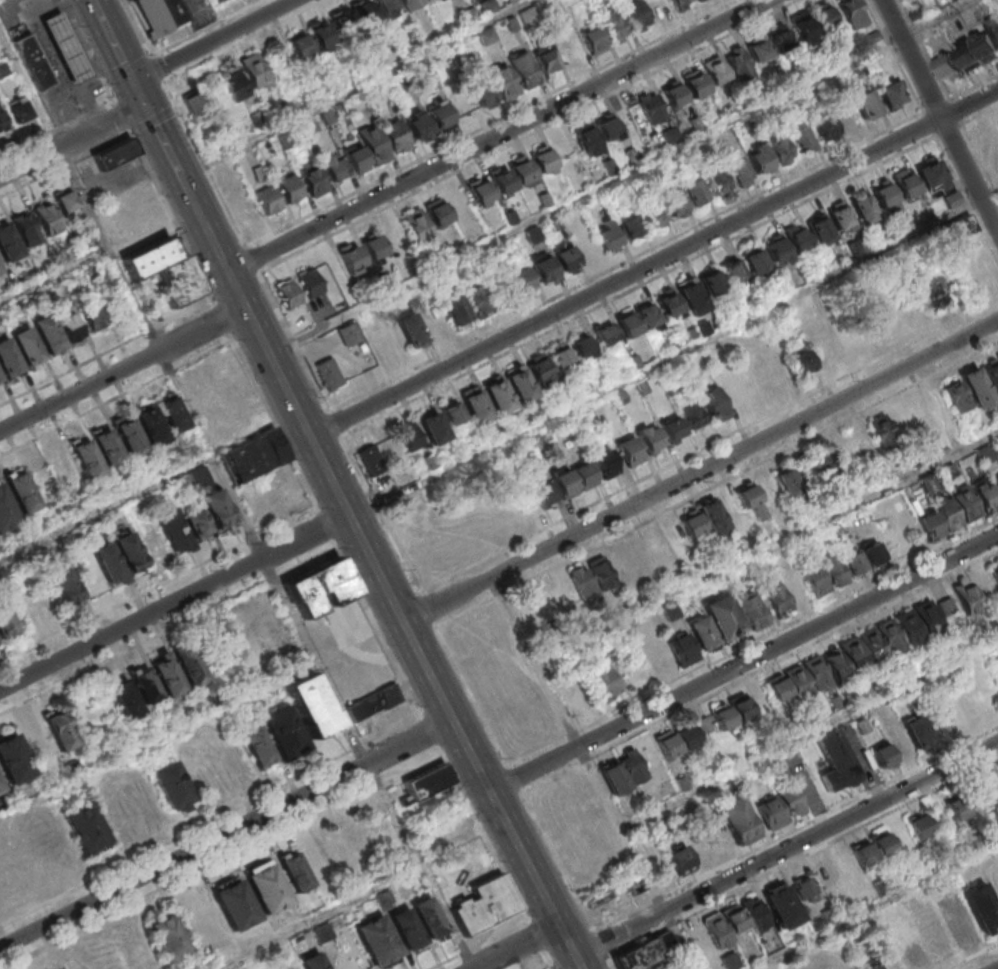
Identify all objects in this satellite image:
building: (696, 0)
building: (701, 0)
building: (216, 1)
building: (510, 1)
building: (411, 3)
building: (681, 4)
building: (487, 6)
building: (388, 7)
building: (658, 8)
road: (68, 9)
building: (364, 13)
building: (528, 14)
building: (636, 14)
building: (852, 14)
building: (161, 15)
building: (468, 15)
building: (812, 24)
building: (343, 25)
building: (513, 25)
building: (614, 25)
building: (994, 25)
road: (137, 28)
road: (204, 28)
building: (322, 35)
building: (486, 35)
road: (82, 36)
building: (778, 38)
building: (593, 39)
road: (213, 40)
road: (244, 40)
building: (66, 46)
building: (300, 47)
building: (568, 49)
building: (757, 49)
building: (977, 49)
road: (119, 52)
road: (5, 53)
road: (896, 56)
building: (34, 61)
building: (547, 61)
road: (97, 65)
building: (740, 66)
road: (128, 67)
road: (157, 67)
building: (949, 67)
building: (3, 69)
building: (255, 70)
building: (424, 70)
building: (525, 70)
building: (715, 70)
road: (163, 79)
road: (107, 80)
traffic signals: (133, 80)
building: (405, 80)
building: (504, 82)
building: (696, 84)
building: (235, 85)
road: (108, 86)
road: (974, 87)
road: (356, 88)
building: (382, 92)
building: (482, 92)
building: (891, 92)
road: (171, 93)
building: (673, 95)
road: (949, 98)
road: (106, 101)
road: (115, 101)
building: (193, 101)
building: (864, 104)
road: (970, 104)
road: (937, 105)
traffic signals: (144, 106)
road: (176, 107)
building: (651, 107)
building: (18, 110)
road: (88, 110)
road: (121, 115)
building: (442, 116)
road: (942, 116)
road: (154, 119)
building: (329, 119)
building: (845, 119)
road: (490, 123)
building: (2, 124)
building: (421, 126)
building: (309, 128)
building: (608, 128)
building: (825, 128)
building: (395, 134)
road: (497, 135)
road: (528, 135)
building: (671, 135)
road: (39, 136)
building: (801, 136)
building: (587, 139)
road: (71, 141)
building: (285, 141)
building: (374, 145)
building: (779, 148)
building: (114, 152)
building: (760, 159)
building: (357, 160)
building: (543, 160)
road: (66, 162)
building: (334, 166)
building: (521, 170)
building: (738, 172)
building: (932, 173)
road: (212, 175)
road: (621, 177)
building: (313, 178)
building: (502, 181)
building: (717, 181)
building: (907, 184)
road: (187, 187)
building: (292, 189)
building: (481, 191)
building: (692, 191)
building: (884, 195)
building: (952, 198)
road: (989, 198)
road: (966, 199)
building: (65, 201)
building: (270, 201)
building: (672, 202)
building: (864, 209)
building: (246, 212)
building: (439, 213)
building: (134, 215)
road: (170, 215)
building: (651, 216)
building: (841, 217)
building: (47, 218)
building: (417, 226)
building: (961, 226)
building: (820, 227)
building: (26, 229)
building: (617, 230)
building: (532, 234)
building: (799, 239)
building: (8, 242)
building: (374, 248)
building: (777, 250)
building: (351, 257)
building: (150, 258)
building: (565, 258)
road: (253, 259)
building: (756, 261)
road: (626, 263)
building: (543, 268)
building: (732, 271)
road: (55, 274)
road: (626, 277)
building: (181, 279)
building: (520, 281)
building: (711, 281)
building: (310, 282)
road: (639, 287)
road: (239, 289)
building: (288, 293)
building: (936, 293)
building: (692, 298)
building: (477, 300)
building: (669, 304)
building: (454, 307)
road: (973, 310)
building: (92, 315)
building: (628, 324)
building: (71, 327)
building: (413, 332)
building: (48, 333)
building: (605, 333)
building: (348, 334)
road: (292, 341)
building: (27, 345)
building: (582, 347)
building: (559, 356)
building: (8, 357)
road: (667, 361)
building: (801, 361)
building: (538, 367)
road: (124, 370)
road: (72, 371)
building: (328, 374)
building: (992, 376)
building: (0, 378)
building: (520, 385)
building: (977, 387)
building: (498, 396)
road: (116, 398)
building: (715, 405)
building: (477, 406)
building: (452, 412)
building: (173, 413)
building: (691, 414)
road: (332, 422)
building: (152, 425)
building: (433, 426)
building: (672, 428)
building: (881, 430)
building: (409, 435)
building: (130, 437)
building: (649, 438)
building: (107, 445)
building: (389, 448)
building: (630, 451)
building: (985, 454)
building: (253, 456)
building: (87, 459)
building: (370, 459)
road: (684, 459)
building: (605, 464)
building: (824, 464)
road: (701, 471)
building: (183, 482)
building: (786, 482)
building: (120, 484)
building: (565, 484)
road: (718, 485)
building: (22, 491)
building: (986, 493)
building: (540, 495)
building: (750, 499)
road: (234, 500)
building: (967, 504)
road: (106, 508)
building: (6, 510)
building: (206, 515)
road: (379, 515)
building: (940, 518)
building: (704, 520)
building: (173, 529)
road: (443, 531)
road: (767, 548)
building: (130, 552)
building: (861, 558)
building: (109, 563)
building: (994, 571)
building: (600, 573)
building: (815, 578)
building: (582, 581)
building: (65, 584)
building: (318, 588)
building: (966, 597)
road: (175, 600)
building: (779, 601)
building: (946, 605)
road: (427, 608)
building: (754, 613)
road: (371, 614)
road: (401, 617)
building: (723, 617)
building: (928, 618)
building: (6, 622)
building: (910, 627)
building: (703, 634)
building: (891, 636)
road: (754, 643)
building: (873, 645)
building: (683, 650)
building: (854, 655)
building: (187, 662)
road: (743, 663)
building: (835, 664)
building: (817, 672)
building: (165, 673)
building: (143, 683)
building: (604, 683)
building: (777, 689)
road: (472, 694)
building: (124, 697)
building: (371, 702)
building: (311, 704)
building: (740, 706)
building: (721, 717)
building: (704, 725)
building: (58, 730)
building: (284, 732)
road: (809, 732)
road: (157, 739)
building: (676, 741)
road: (578, 744)
building: (902, 744)
building: (257, 746)
building: (14, 759)
building: (835, 760)
building: (622, 772)
road: (515, 777)
building: (427, 781)
building: (172, 786)
building: (0, 788)
building: (991, 790)
building: (789, 800)
building: (955, 808)
building: (770, 813)
building: (737, 820)
building: (918, 826)
building: (86, 827)
road: (796, 827)
road: (226, 834)
building: (718, 837)
building: (458, 838)
building: (873, 848)
road: (787, 849)
building: (685, 857)
road: (558, 859)
building: (23, 861)
building: (826, 870)
building: (295, 872)
building: (635, 885)
building: (268, 888)
building: (803, 888)
building: (3, 889)
building: (481, 902)
building: (235, 904)
building: (781, 904)
road: (876, 908)
building: (754, 913)
building: (968, 913)
building: (828, 916)
road: (317, 918)
building: (428, 918)
building: (723, 925)
building: (407, 930)
building: (323, 933)
road: (536, 935)
building: (169, 938)
building: (377, 940)
road: (568, 940)
road: (681, 940)
road: (601, 942)
road: (481, 943)
road: (515, 946)
building: (913, 953)
building: (639, 957)
road: (547, 958)
building: (892, 960)
building: (313, 961)
road: (329, 961)
road: (611, 961)
road: (579, 962)
building: (872, 965)
building: (294, 966)
road: (547, 967)

